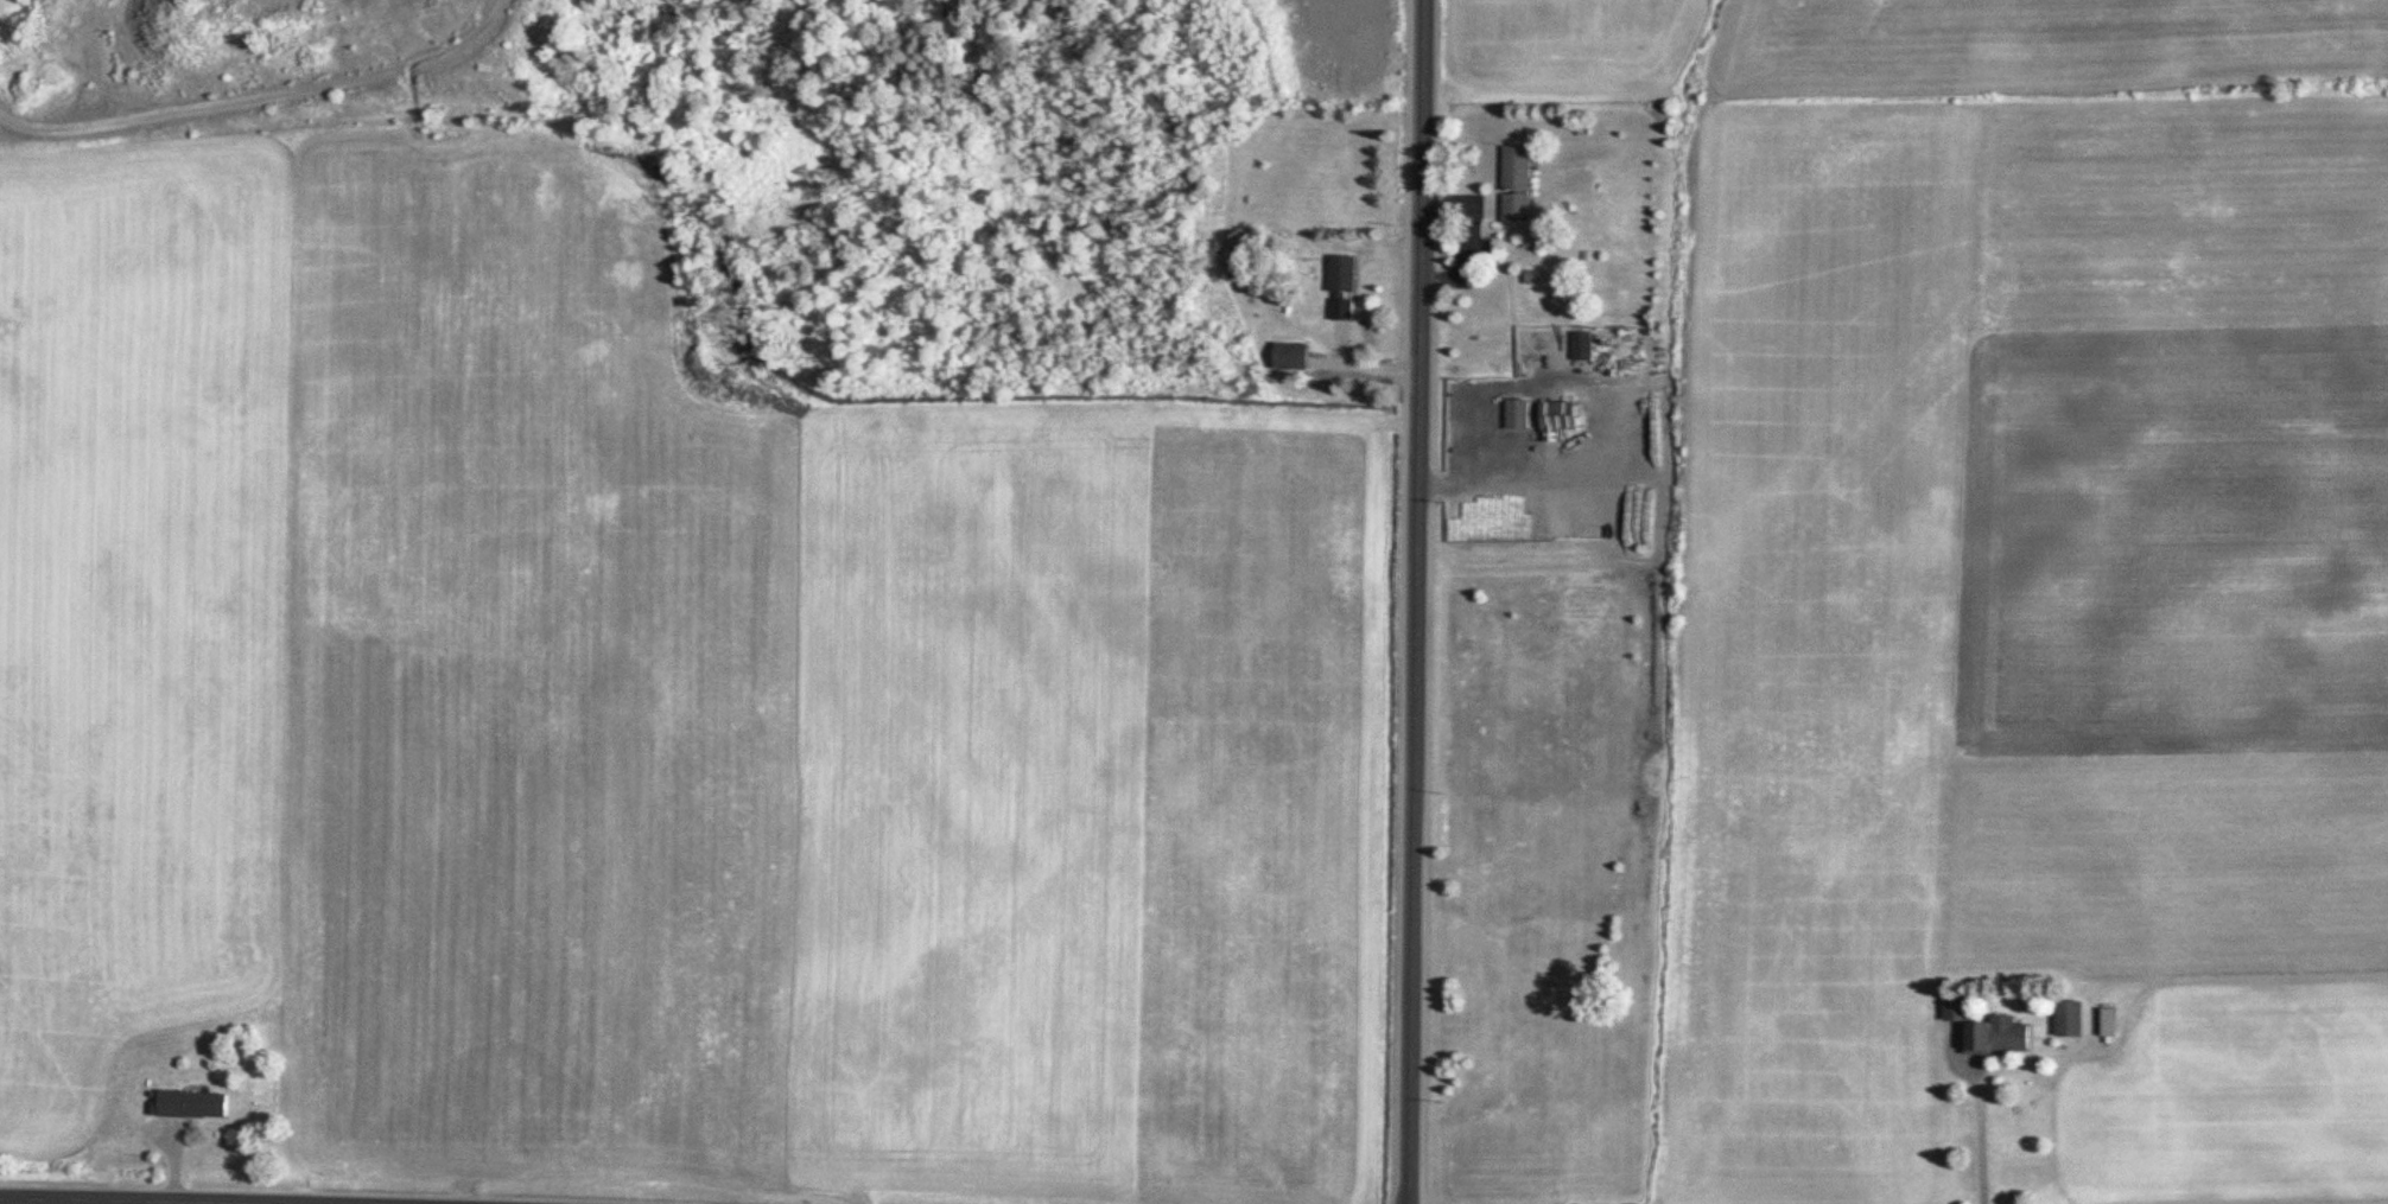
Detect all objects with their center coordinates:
building: (1525, 185)
building: (1348, 288)
building: (1588, 344)
building: (1298, 356)
building: (1564, 416)
road: (1416, 601)
building: (1964, 1007)
building: (2076, 1017)
building: (2116, 1021)
building: (1992, 1034)
building: (198, 1103)
road: (47, 1202)

